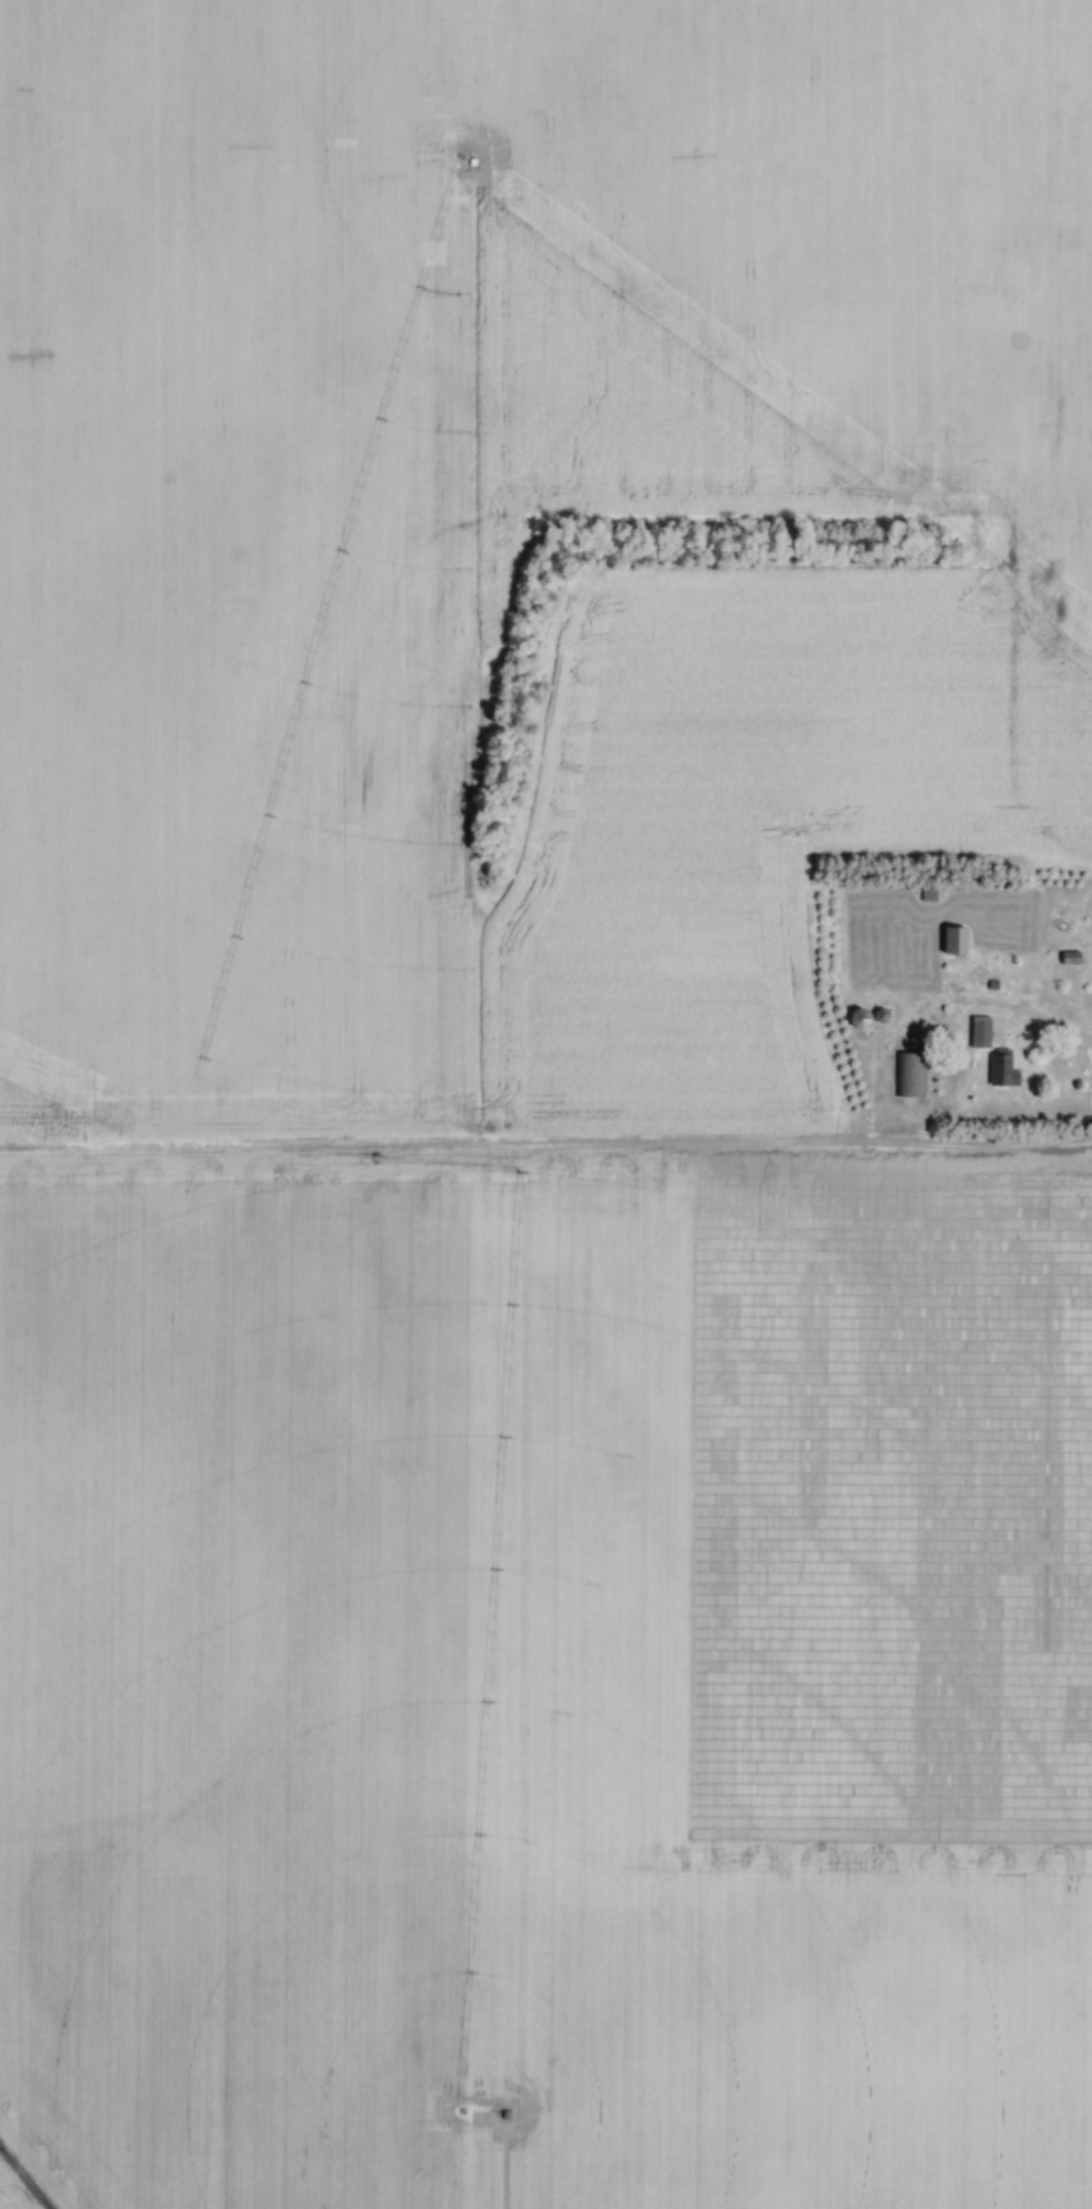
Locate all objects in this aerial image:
building: (953, 940)
building: (1069, 957)
building: (859, 1018)
road: (1046, 1022)
building: (979, 1031)
building: (1001, 1069)
building: (907, 1074)

